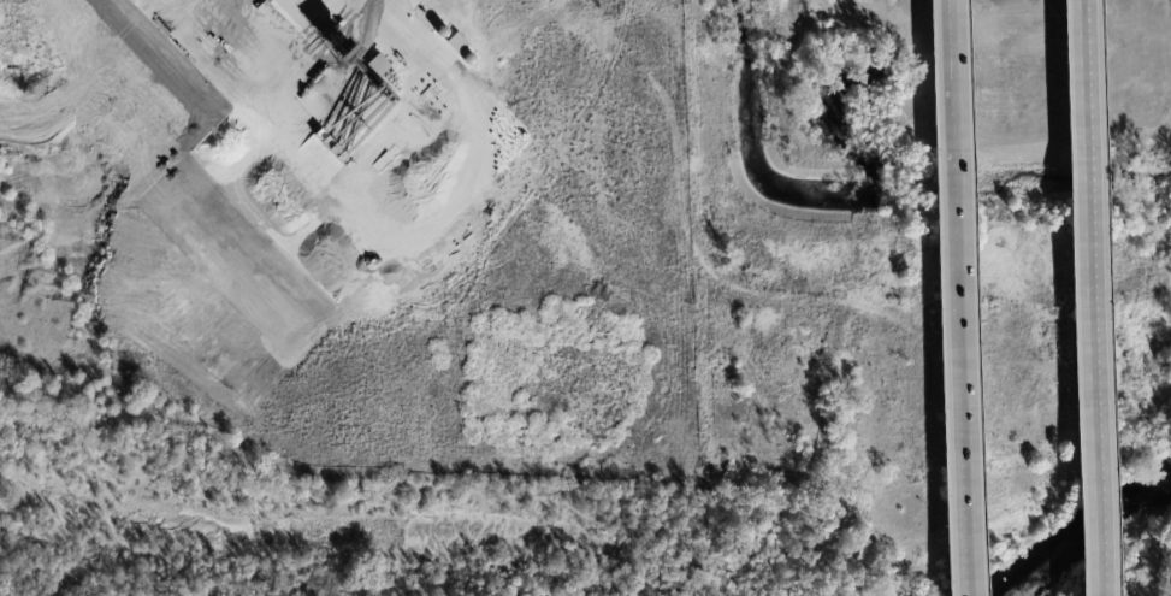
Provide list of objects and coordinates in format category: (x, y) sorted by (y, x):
road: (954, 297)
road: (1086, 297)

